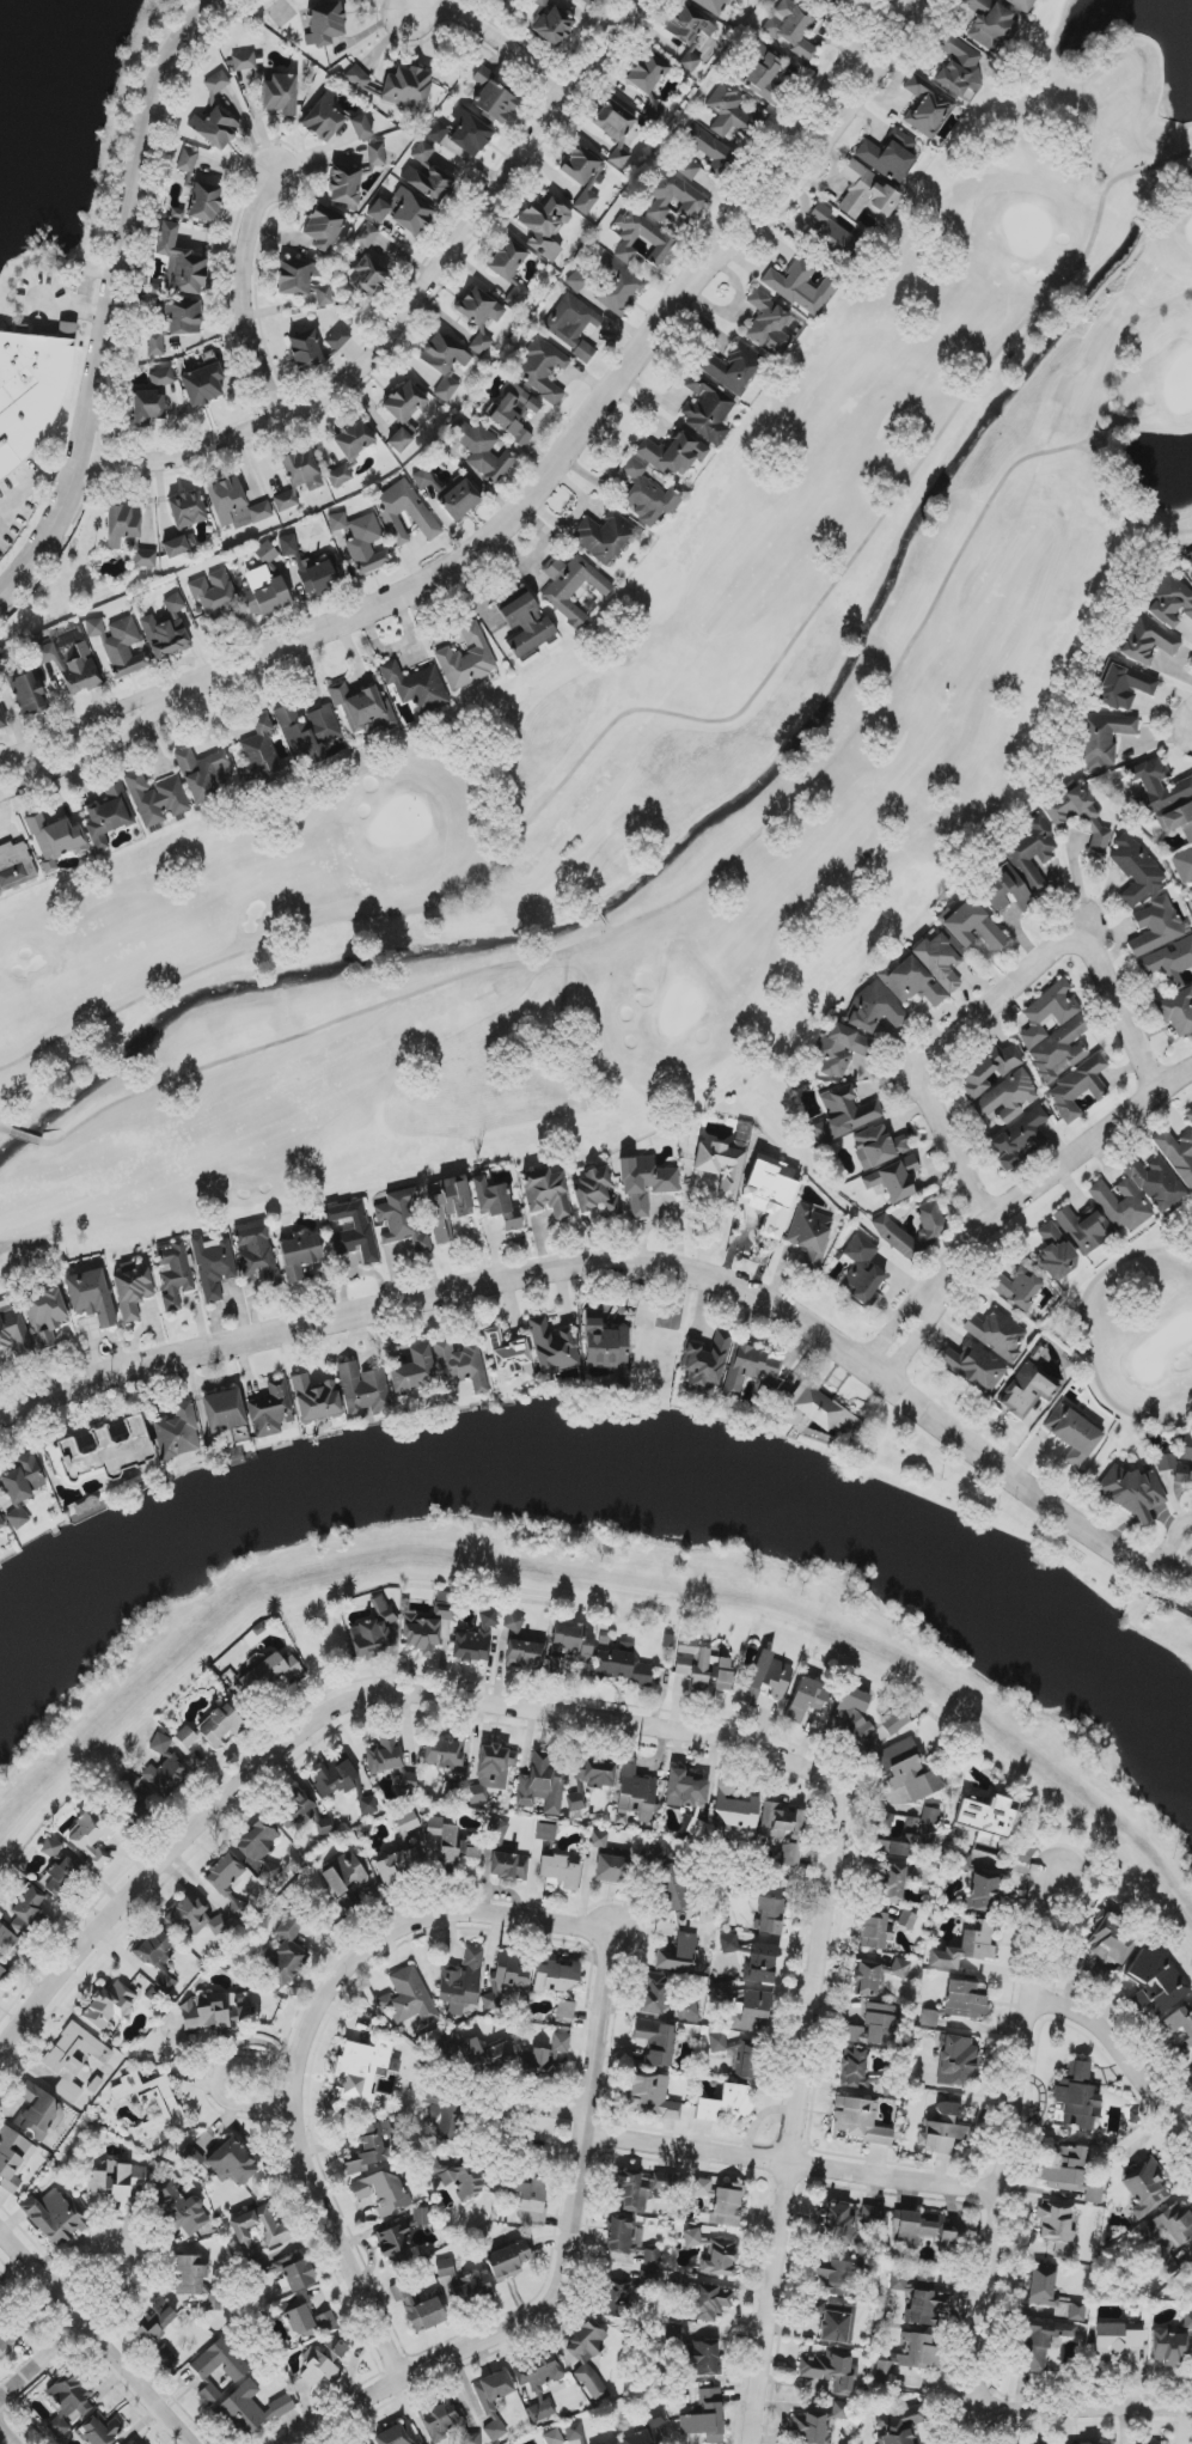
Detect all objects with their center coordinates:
building: (587, 1)
building: (540, 4)
building: (713, 5)
building: (825, 5)
building: (1022, 5)
building: (324, 24)
building: (554, 26)
building: (990, 26)
building: (791, 28)
building: (687, 32)
road: (494, 37)
building: (244, 61)
building: (959, 67)
building: (763, 75)
building: (357, 78)
building: (648, 80)
building: (215, 84)
building: (406, 87)
building: (280, 95)
building: (493, 98)
building: (927, 106)
building: (729, 111)
building: (324, 118)
building: (361, 127)
building: (215, 128)
building: (615, 128)
building: (438, 132)
building: (470, 133)
road: (778, 152)
building: (377, 154)
building: (890, 156)
building: (721, 157)
road: (813, 163)
building: (427, 175)
building: (583, 176)
building: (344, 185)
building: (198, 190)
building: (867, 194)
building: (672, 196)
building: (403, 212)
building: (177, 213)
building: (544, 226)
building: (323, 227)
building: (831, 231)
building: (367, 236)
building: (661, 242)
building: (179, 263)
building: (640, 263)
building: (509, 269)
road: (88, 276)
building: (367, 276)
building: (297, 278)
building: (576, 281)
building: (801, 287)
building: (618, 288)
building: (154, 292)
building: (324, 295)
road: (246, 297)
road: (114, 299)
road: (410, 306)
road: (73, 309)
building: (479, 317)
building: (175, 323)
building: (768, 324)
building: (573, 325)
building: (338, 339)
building: (305, 351)
building: (444, 362)
building: (733, 367)
building: (543, 370)
building: (161, 377)
building: (203, 385)
building: (26, 396)
building: (404, 403)
building: (148, 408)
building: (705, 409)
building: (514, 413)
building: (399, 440)
building: (350, 451)
building: (483, 452)
building: (673, 453)
building: (298, 479)
building: (422, 479)
road: (33, 482)
building: (647, 495)
building: (459, 500)
building: (236, 505)
building: (187, 510)
road: (5, 513)
building: (390, 513)
building: (122, 525)
building: (604, 536)
building: (362, 542)
building: (179, 546)
building: (288, 546)
building: (267, 555)
road: (476, 555)
building: (145, 559)
building: (1188, 559)
building: (318, 578)
building: (264, 593)
building: (214, 598)
building: (1169, 603)
building: (526, 627)
building: (166, 630)
building: (1145, 641)
building: (118, 645)
building: (466, 658)
building: (73, 668)
building: (1121, 685)
building: (416, 687)
building: (27, 694)
building: (362, 708)
road: (91, 719)
building: (1, 721)
park: (667, 730)
building: (308, 732)
building: (1102, 738)
building: (259, 751)
road: (99, 752)
building: (203, 774)
building: (1159, 785)
building: (157, 799)
building: (1076, 813)
building: (108, 816)
building: (1176, 819)
building: (56, 840)
building: (1032, 853)
building: (1182, 865)
building: (16, 866)
building: (1136, 871)
building: (1007, 891)
building: (1191, 897)
building: (971, 925)
building: (1155, 927)
building: (939, 962)
building: (1169, 962)
building: (911, 982)
road: (998, 1000)
building: (874, 1010)
building: (1178, 1012)
building: (1055, 1032)
building: (839, 1049)
building: (989, 1069)
building: (1077, 1087)
building: (1005, 1098)
building: (1190, 1113)
building: (844, 1115)
building: (1019, 1139)
building: (878, 1146)
road: (1090, 1146)
building: (1178, 1154)
building: (721, 1164)
building: (893, 1180)
building: (644, 1182)
building: (1155, 1182)
building: (546, 1193)
building: (595, 1193)
building: (771, 1193)
building: (496, 1203)
building: (1120, 1205)
building: (402, 1219)
building: (354, 1229)
building: (1084, 1229)
building: (811, 1233)
building: (256, 1251)
building: (1055, 1253)
building: (299, 1254)
road: (631, 1266)
building: (213, 1267)
building: (862, 1272)
building: (175, 1274)
building: (1016, 1287)
building: (133, 1292)
road: (925, 1292)
building: (91, 1297)
road: (942, 1304)
building: (47, 1316)
building: (12, 1328)
park: (1141, 1330)
building: (997, 1334)
building: (604, 1343)
building: (552, 1347)
building: (508, 1357)
building: (705, 1364)
building: (460, 1365)
building: (974, 1366)
building: (750, 1367)
building: (412, 1372)
building: (362, 1390)
building: (1026, 1390)
building: (316, 1400)
building: (270, 1409)
building: (222, 1412)
building: (820, 1413)
building: (178, 1432)
building: (1072, 1434)
building: (103, 1451)
building: (1166, 1462)
building: (23, 1479)
building: (1132, 1492)
building: (18, 1517)
road: (1172, 1541)
building: (444, 1611)
building: (514, 1622)
building: (373, 1631)
building: (421, 1634)
building: (476, 1640)
building: (573, 1640)
building: (525, 1653)
building: (621, 1663)
building: (703, 1668)
building: (269, 1675)
building: (766, 1677)
building: (807, 1699)
building: (851, 1717)
building: (895, 1721)
building: (221, 1725)
road: (680, 1731)
building: (187, 1737)
building: (444, 1753)
building: (389, 1760)
building: (495, 1762)
building: (164, 1768)
building: (906, 1770)
building: (594, 1772)
building: (342, 1782)
building: (542, 1784)
building: (686, 1791)
building: (635, 1796)
building: (129, 1802)
building: (575, 1802)
building: (734, 1808)
building: (302, 1815)
building: (991, 1816)
building: (408, 1823)
building: (929, 1824)
building: (912, 1827)
building: (784, 1830)
building: (546, 1833)
building: (91, 1837)
building: (892, 1839)
building: (599, 1840)
building: (452, 1843)
building: (50, 1847)
building: (258, 1848)
building: (961, 1861)
building: (508, 1864)
building: (399, 1866)
building: (611, 1869)
building: (560, 1871)
building: (61, 1878)
building: (344, 1878)
building: (668, 1878)
building: (227, 1881)
building: (892, 1884)
building: (983, 1893)
building: (770, 1912)
building: (185, 1915)
building: (907, 1920)
building: (218, 1925)
building: (875, 1931)
building: (7, 1939)
building: (1111, 1940)
building: (967, 1945)
building: (287, 1952)
building: (678, 1954)
building: (157, 1956)
building: (753, 1960)
building: (2, 1973)
building: (876, 1975)
building: (555, 1977)
building: (1156, 1980)
building: (503, 1981)
building: (461, 1982)
building: (652, 1993)
building: (409, 1998)
building: (966, 1999)
building: (110, 2007)
building: (751, 2009)
building: (566, 2010)
building: (215, 2011)
building: (687, 2011)
building: (929, 2018)
building: (1180, 2023)
building: (874, 2025)
road: (305, 2037)
building: (656, 2042)
building: (717, 2042)
road: (1131, 2044)
building: (477, 2055)
building: (549, 2056)
building: (72, 2059)
building: (744, 2061)
building: (958, 2061)
building: (854, 2068)
building: (361, 2073)
building: (1188, 2079)
road: (215, 2085)
building: (650, 2096)
building: (1077, 2097)
building: (152, 2103)
building: (725, 2105)
building: (37, 2110)
building: (445, 2111)
road: (502, 2121)
building: (860, 2121)
building: (943, 2129)
building: (369, 2147)
road: (1009, 2155)
building: (192, 2157)
building: (12, 2158)
building: (233, 2162)
road: (794, 2164)
building: (1066, 2169)
building: (456, 2177)
building: (117, 2181)
building: (702, 2187)
building: (1145, 2188)
building: (642, 2189)
building: (383, 2192)
building: (532, 2200)
building: (727, 2205)
building: (181, 2207)
building: (54, 2217)
building: (421, 2217)
building: (848, 2221)
building: (923, 2229)
building: (1057, 2229)
building: (280, 2232)
building: (624, 2236)
building: (1169, 2236)
building: (395, 2247)
building: (714, 2254)
building: (652, 2256)
building: (508, 2261)
road: (26, 2262)
road: (566, 2267)
building: (295, 2271)
road: (136, 2272)
building: (831, 2279)
building: (196, 2281)
building: (464, 2283)
building: (1043, 2286)
building: (1, 2296)
building: (616, 2299)
building: (919, 2299)
building: (710, 2302)
building: (418, 2309)
building: (299, 2316)
building: (326, 2321)
building: (836, 2321)
building: (1187, 2321)
building: (155, 2322)
building: (1115, 2339)
building: (1041, 2342)
building: (1168, 2347)
building: (912, 2354)
building: (166, 2357)
building: (704, 2358)
building: (220, 2361)
building: (323, 2361)
building: (582, 2361)
road: (122, 2369)
building: (831, 2371)
building: (538, 2383)
building: (209, 2394)
building: (67, 2402)
road: (1104, 2402)
building: (250, 2409)
building: (490, 2412)
building: (441, 2419)
building: (818, 2425)
building: (900, 2425)
building: (100, 2430)
building: (647, 2430)
building: (574, 2431)
building: (398, 2434)
road: (4, 2439)
building: (582, 2442)
building: (362, 2443)
building: (616, 2443)

